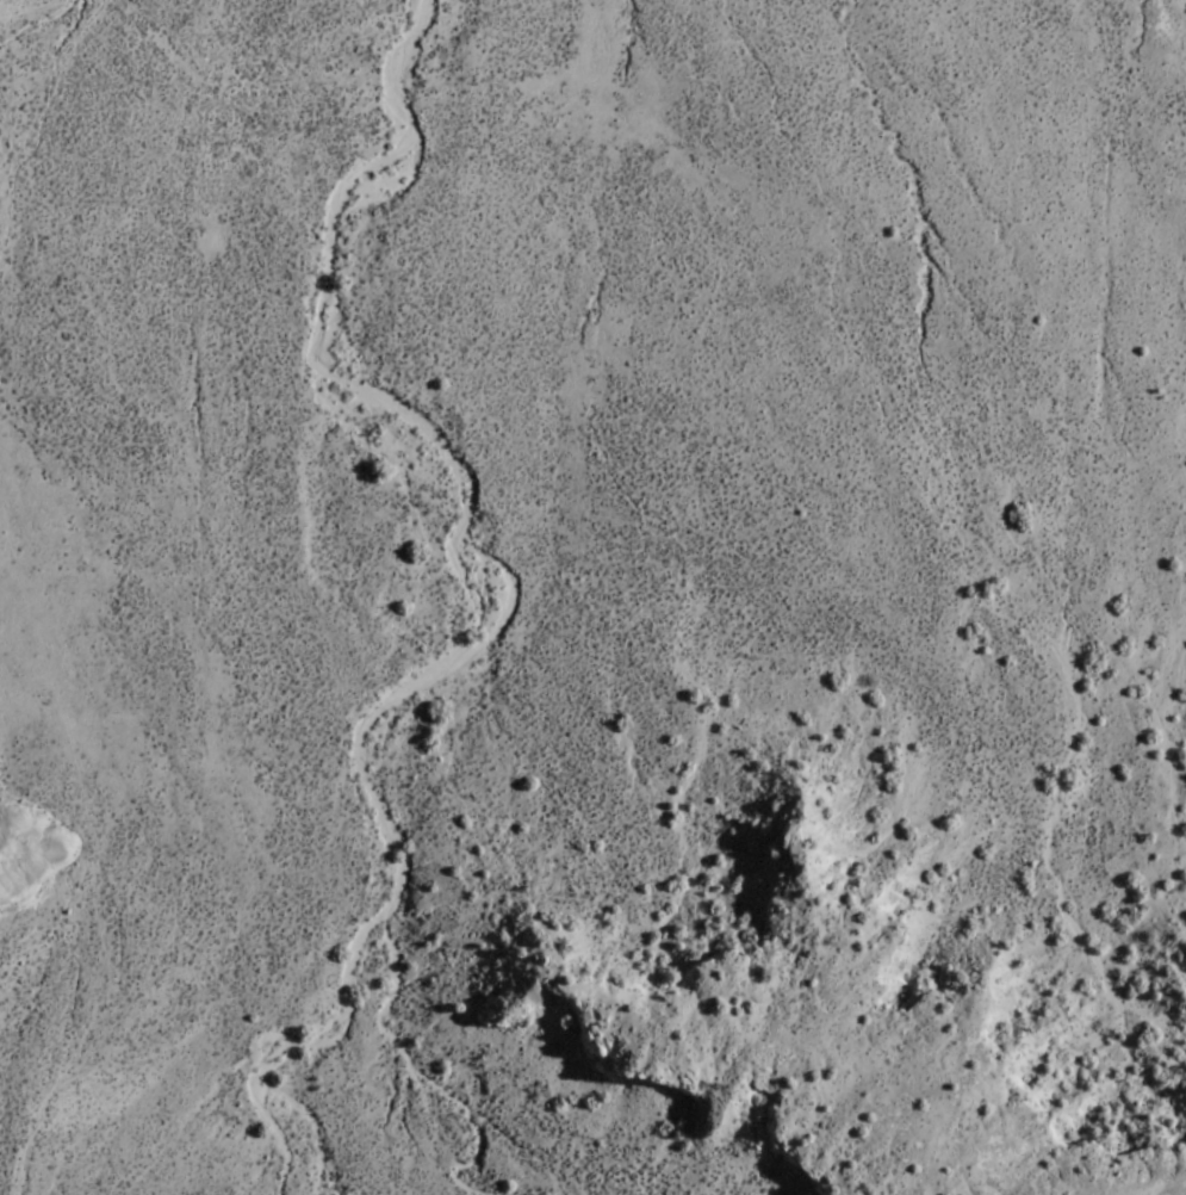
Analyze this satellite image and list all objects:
road: (36, 24)

